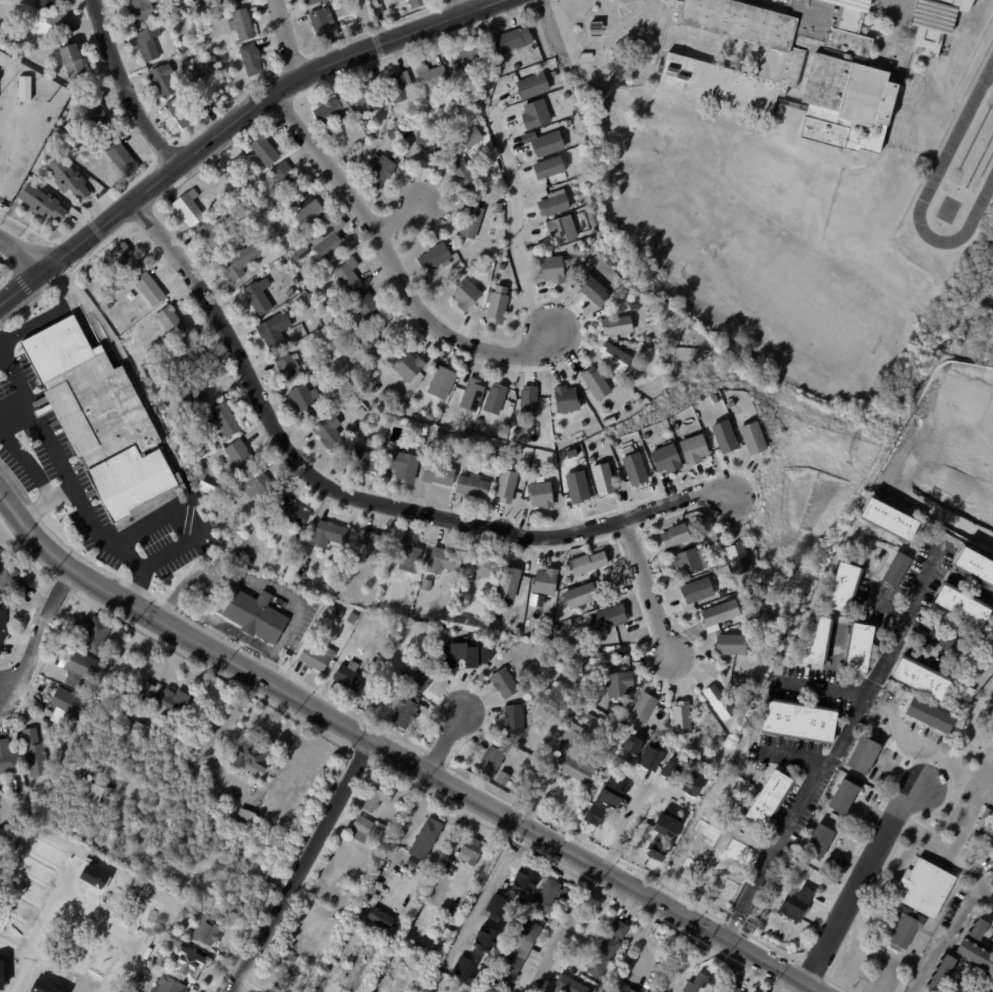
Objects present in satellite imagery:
building: (232, 1)
building: (317, 2)
building: (49, 4)
building: (377, 4)
building: (420, 4)
building: (197, 6)
road: (461, 7)
building: (146, 10)
building: (932, 23)
building: (244, 25)
building: (325, 25)
building: (54, 26)
building: (594, 26)
road: (548, 31)
road: (285, 38)
building: (510, 39)
building: (151, 43)
building: (194, 56)
building: (469, 59)
building: (253, 60)
building: (212, 62)
building: (72, 65)
building: (790, 66)
building: (430, 79)
building: (165, 80)
building: (532, 84)
road: (123, 86)
building: (396, 86)
building: (187, 87)
building: (26, 89)
building: (364, 99)
building: (445, 104)
building: (329, 110)
building: (191, 111)
building: (535, 112)
building: (98, 116)
power substation: (23, 120)
road: (234, 121)
building: (371, 133)
building: (60, 136)
building: (393, 137)
building: (469, 137)
building: (543, 142)
building: (428, 144)
building: (260, 149)
building: (125, 160)
building: (548, 165)
building: (378, 172)
track: (960, 172)
building: (462, 175)
building: (248, 177)
building: (283, 177)
building: (70, 179)
building: (291, 202)
building: (552, 203)
building: (44, 204)
building: (188, 207)
building: (309, 211)
road: (400, 214)
building: (468, 221)
road: (514, 225)
building: (562, 227)
building: (211, 231)
building: (327, 240)
building: (575, 248)
road: (23, 252)
building: (301, 252)
building: (432, 256)
building: (124, 259)
building: (240, 259)
road: (391, 265)
building: (485, 267)
building: (501, 267)
building: (549, 268)
building: (346, 274)
building: (294, 280)
building: (117, 282)
building: (147, 289)
building: (594, 289)
building: (296, 291)
building: (289, 294)
building: (464, 295)
building: (255, 298)
building: (648, 303)
building: (496, 304)
building: (105, 306)
building: (642, 306)
building: (364, 307)
road: (52, 313)
building: (656, 313)
building: (169, 321)
building: (615, 325)
building: (268, 334)
building: (371, 347)
building: (190, 349)
building: (642, 349)
road: (0, 351)
road: (5, 357)
building: (612, 357)
building: (314, 364)
building: (288, 366)
building: (406, 367)
building: (439, 383)
building: (594, 383)
building: (375, 388)
building: (193, 391)
building: (469, 395)
building: (565, 398)
building: (492, 399)
building: (528, 399)
building: (301, 401)
building: (399, 401)
road: (12, 403)
building: (159, 405)
building: (359, 412)
building: (407, 412)
building: (433, 418)
building: (610, 418)
building: (101, 419)
building: (221, 419)
building: (478, 421)
building: (583, 423)
building: (455, 427)
road: (41, 431)
building: (328, 432)
building: (723, 435)
building: (646, 436)
building: (752, 436)
road: (952, 437)
building: (469, 443)
building: (692, 447)
building: (178, 448)
building: (238, 454)
road: (23, 458)
building: (516, 458)
building: (592, 459)
building: (664, 459)
building: (365, 461)
building: (400, 465)
building: (534, 466)
building: (634, 467)
building: (436, 474)
building: (603, 477)
building: (256, 484)
building: (577, 485)
building: (504, 486)
building: (471, 487)
building: (202, 488)
building: (539, 494)
road: (42, 499)
road: (357, 504)
building: (290, 514)
road: (182, 520)
building: (889, 520)
building: (327, 534)
building: (673, 536)
building: (699, 538)
road: (117, 546)
building: (371, 546)
building: (706, 546)
building: (406, 556)
building: (243, 559)
building: (737, 559)
building: (442, 560)
building: (686, 562)
building: (586, 563)
building: (975, 566)
building: (478, 569)
building: (894, 569)
building: (290, 574)
building: (567, 580)
building: (544, 582)
building: (507, 583)
building: (13, 584)
building: (424, 585)
building: (840, 586)
road: (645, 588)
building: (696, 590)
building: (747, 593)
building: (578, 596)
building: (959, 604)
building: (334, 612)
building: (718, 614)
building: (255, 615)
building: (349, 618)
building: (605, 619)
road: (222, 624)
building: (3, 628)
building: (515, 630)
building: (439, 633)
building: (95, 634)
road: (39, 635)
road: (214, 636)
building: (599, 641)
building: (814, 641)
building: (729, 645)
building: (858, 647)
building: (476, 655)
building: (315, 656)
building: (461, 660)
building: (83, 669)
building: (346, 677)
building: (417, 678)
building: (920, 678)
building: (502, 684)
building: (618, 685)
road: (822, 686)
building: (744, 696)
building: (169, 701)
building: (718, 703)
building: (68, 707)
building: (600, 707)
building: (640, 710)
building: (405, 712)
building: (927, 717)
building: (680, 718)
building: (512, 719)
building: (592, 720)
building: (797, 721)
building: (649, 732)
building: (572, 735)
road: (446, 737)
building: (720, 739)
road: (210, 744)
building: (631, 744)
road: (834, 746)
building: (512, 749)
building: (38, 754)
road: (794, 754)
road: (396, 755)
building: (862, 756)
building: (258, 757)
building: (649, 757)
building: (10, 759)
building: (706, 761)
building: (490, 762)
building: (670, 770)
building: (575, 771)
building: (159, 772)
building: (873, 774)
building: (165, 777)
building: (501, 778)
building: (171, 783)
building: (691, 784)
building: (177, 789)
building: (714, 790)
building: (91, 792)
building: (609, 794)
building: (378, 795)
building: (768, 798)
building: (841, 799)
building: (188, 801)
building: (738, 808)
building: (593, 815)
building: (246, 817)
building: (217, 819)
building: (983, 821)
building: (665, 825)
road: (619, 827)
building: (194, 828)
building: (360, 829)
building: (8, 836)
building: (697, 836)
building: (975, 838)
building: (424, 839)
road: (957, 840)
building: (990, 840)
building: (817, 842)
building: (654, 849)
building: (470, 851)
building: (227, 852)
building: (966, 854)
building: (410, 861)
road: (301, 865)
building: (382, 865)
road: (857, 883)
building: (344, 889)
building: (456, 890)
building: (504, 891)
building: (550, 895)
building: (917, 898)
building: (796, 904)
road: (106, 911)
building: (195, 911)
road: (572, 918)
building: (379, 919)
road: (45, 926)
building: (978, 930)
building: (210, 931)
road: (941, 942)
building: (605, 948)
building: (516, 952)
building: (483, 956)
building: (190, 957)
building: (288, 957)
building: (973, 957)
road: (689, 961)
building: (308, 968)
road: (729, 971)
building: (940, 974)
building: (696, 984)
building: (171, 985)
building: (567, 985)
building: (618, 987)
building: (962, 987)
building: (265, 988)
building: (731, 988)

